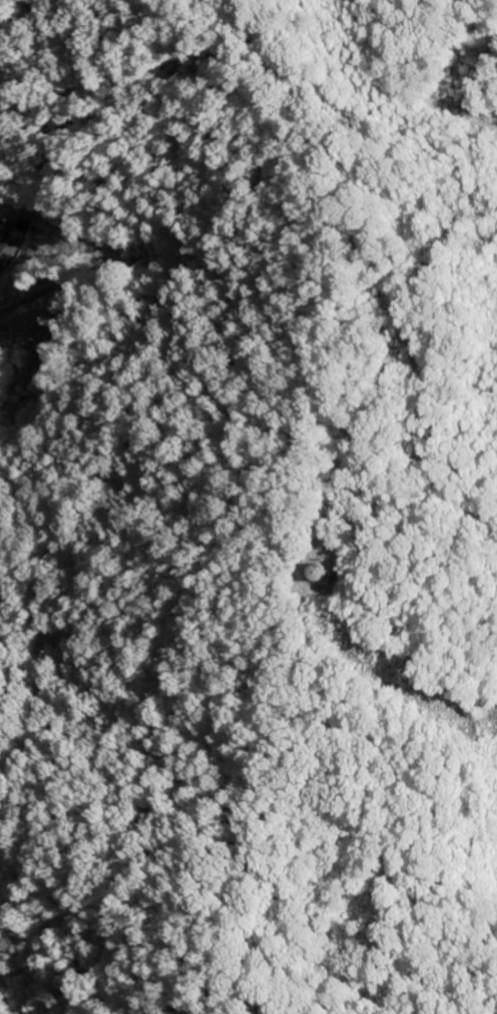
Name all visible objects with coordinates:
building: (4, 234)
building: (319, 572)

